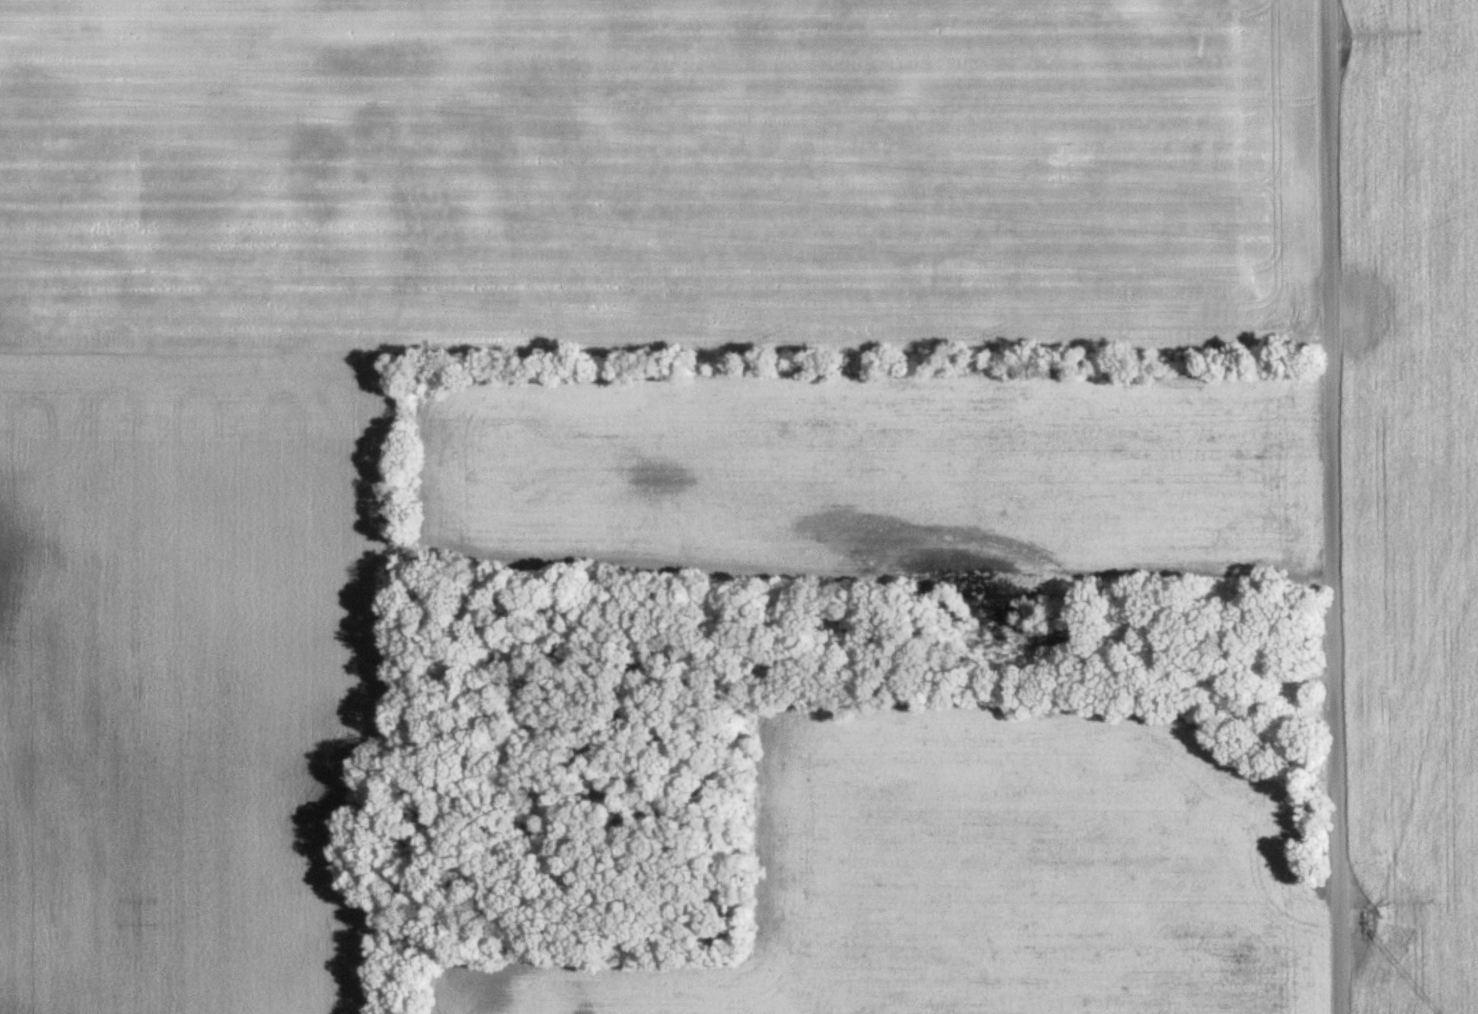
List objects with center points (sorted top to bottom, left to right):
road: (1333, 507)

